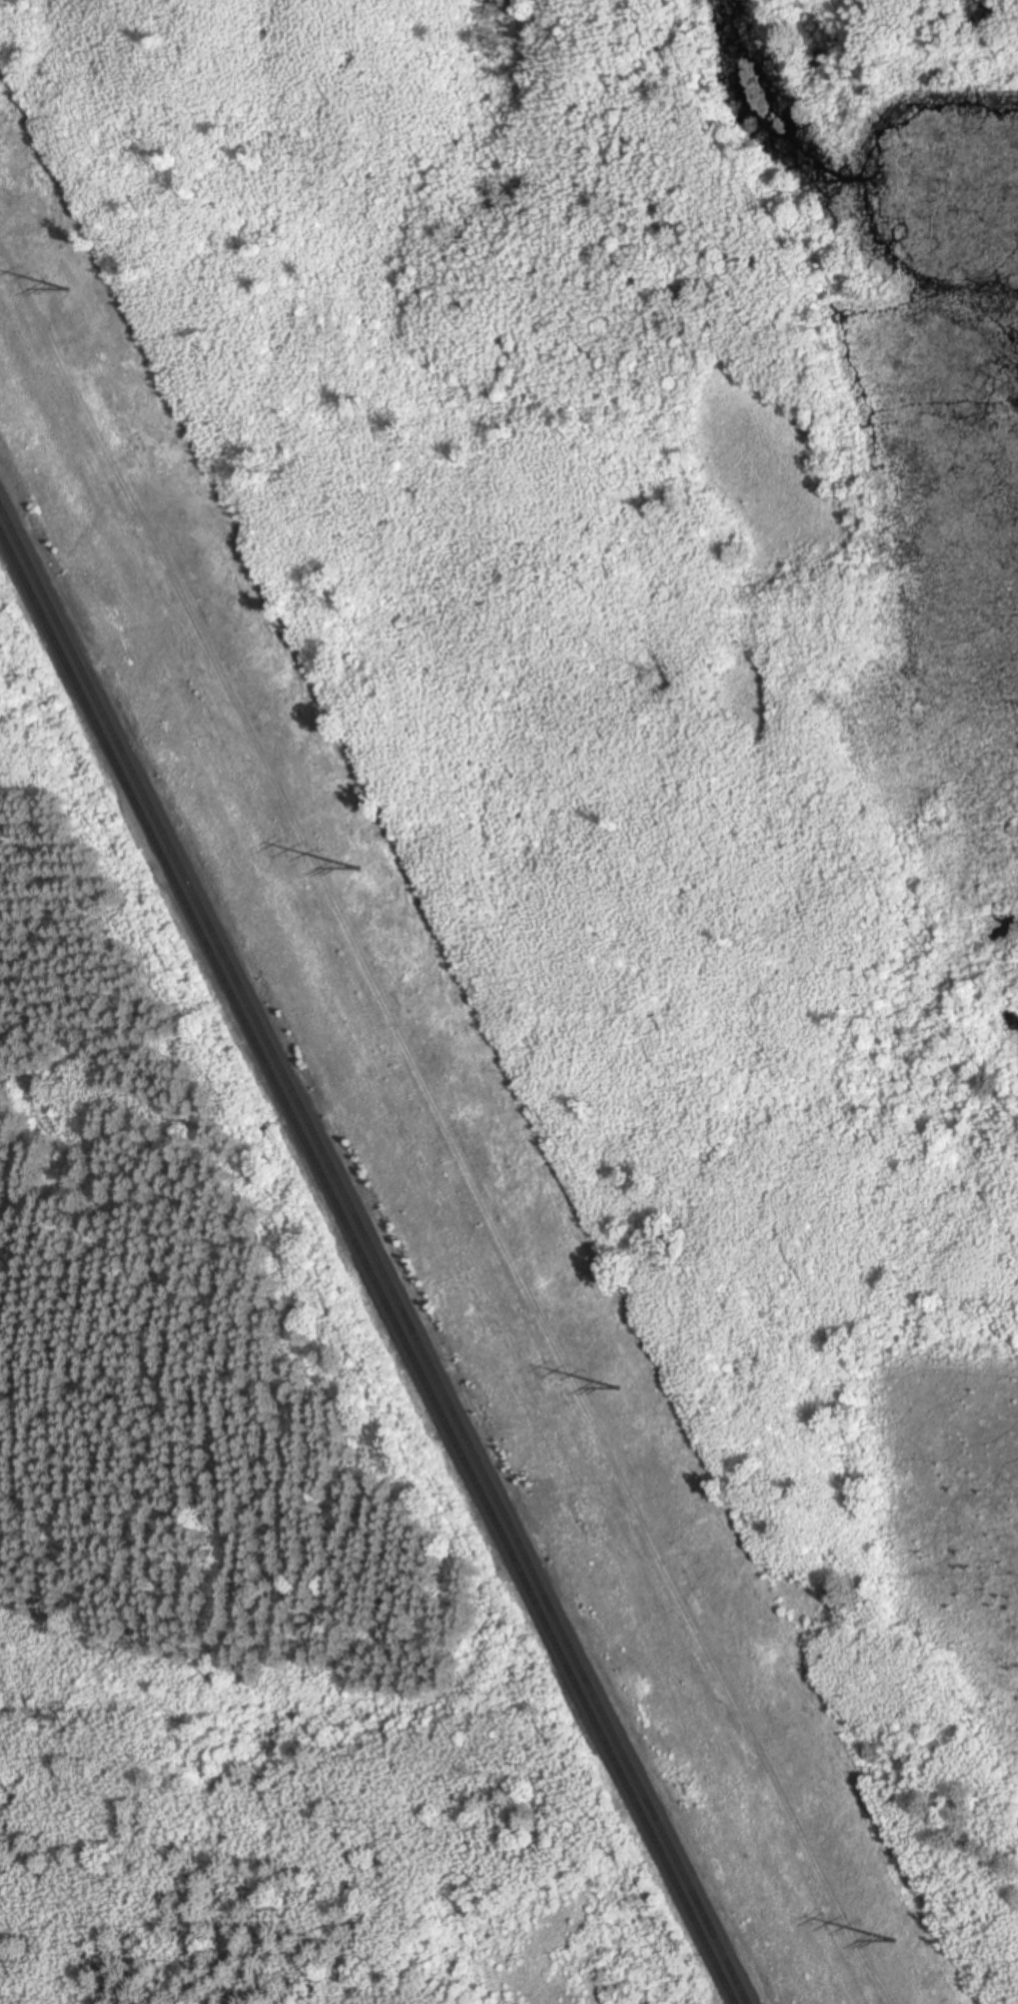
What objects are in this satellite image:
power tower: (70, 290)
power tower: (360, 870)
railway: (375, 1254)
railway: (366, 1271)
power tower: (616, 1390)
power tower: (896, 1943)

